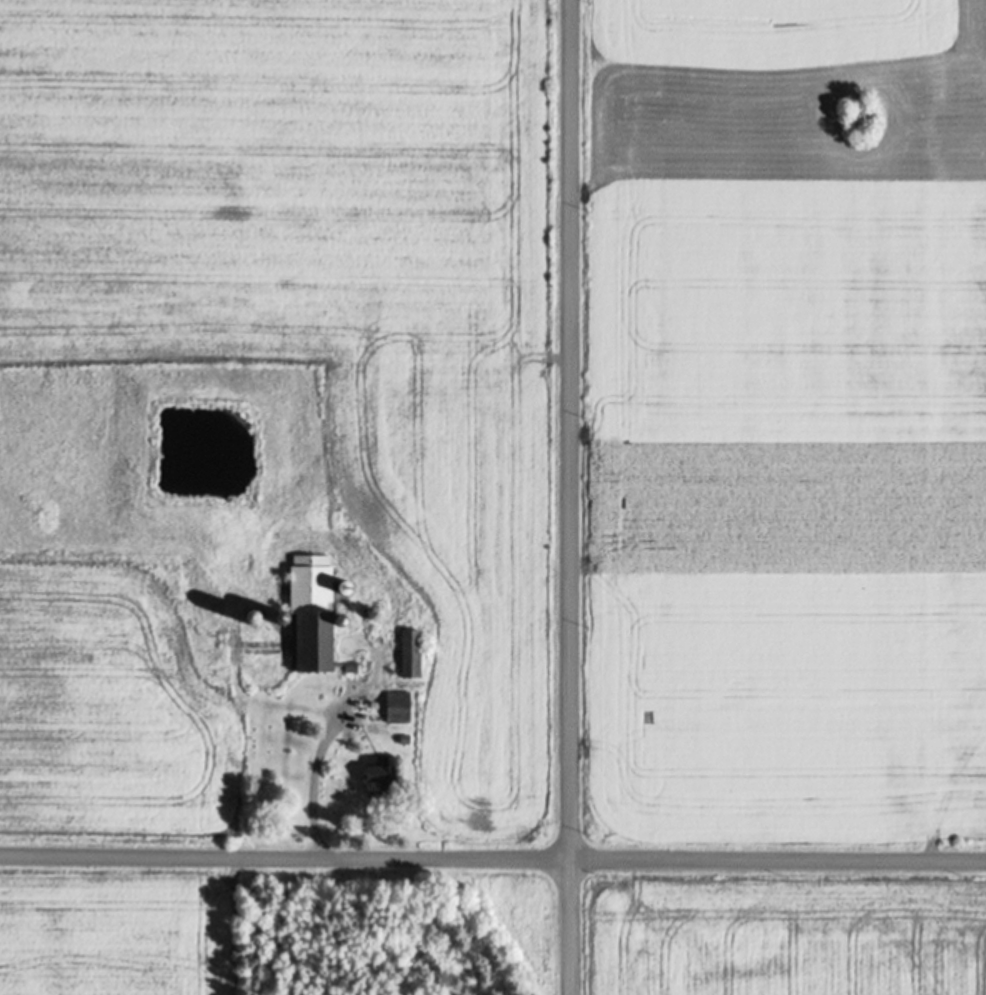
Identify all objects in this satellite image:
road: (567, 497)
building: (309, 611)
building: (396, 708)
building: (367, 775)
road: (492, 856)

